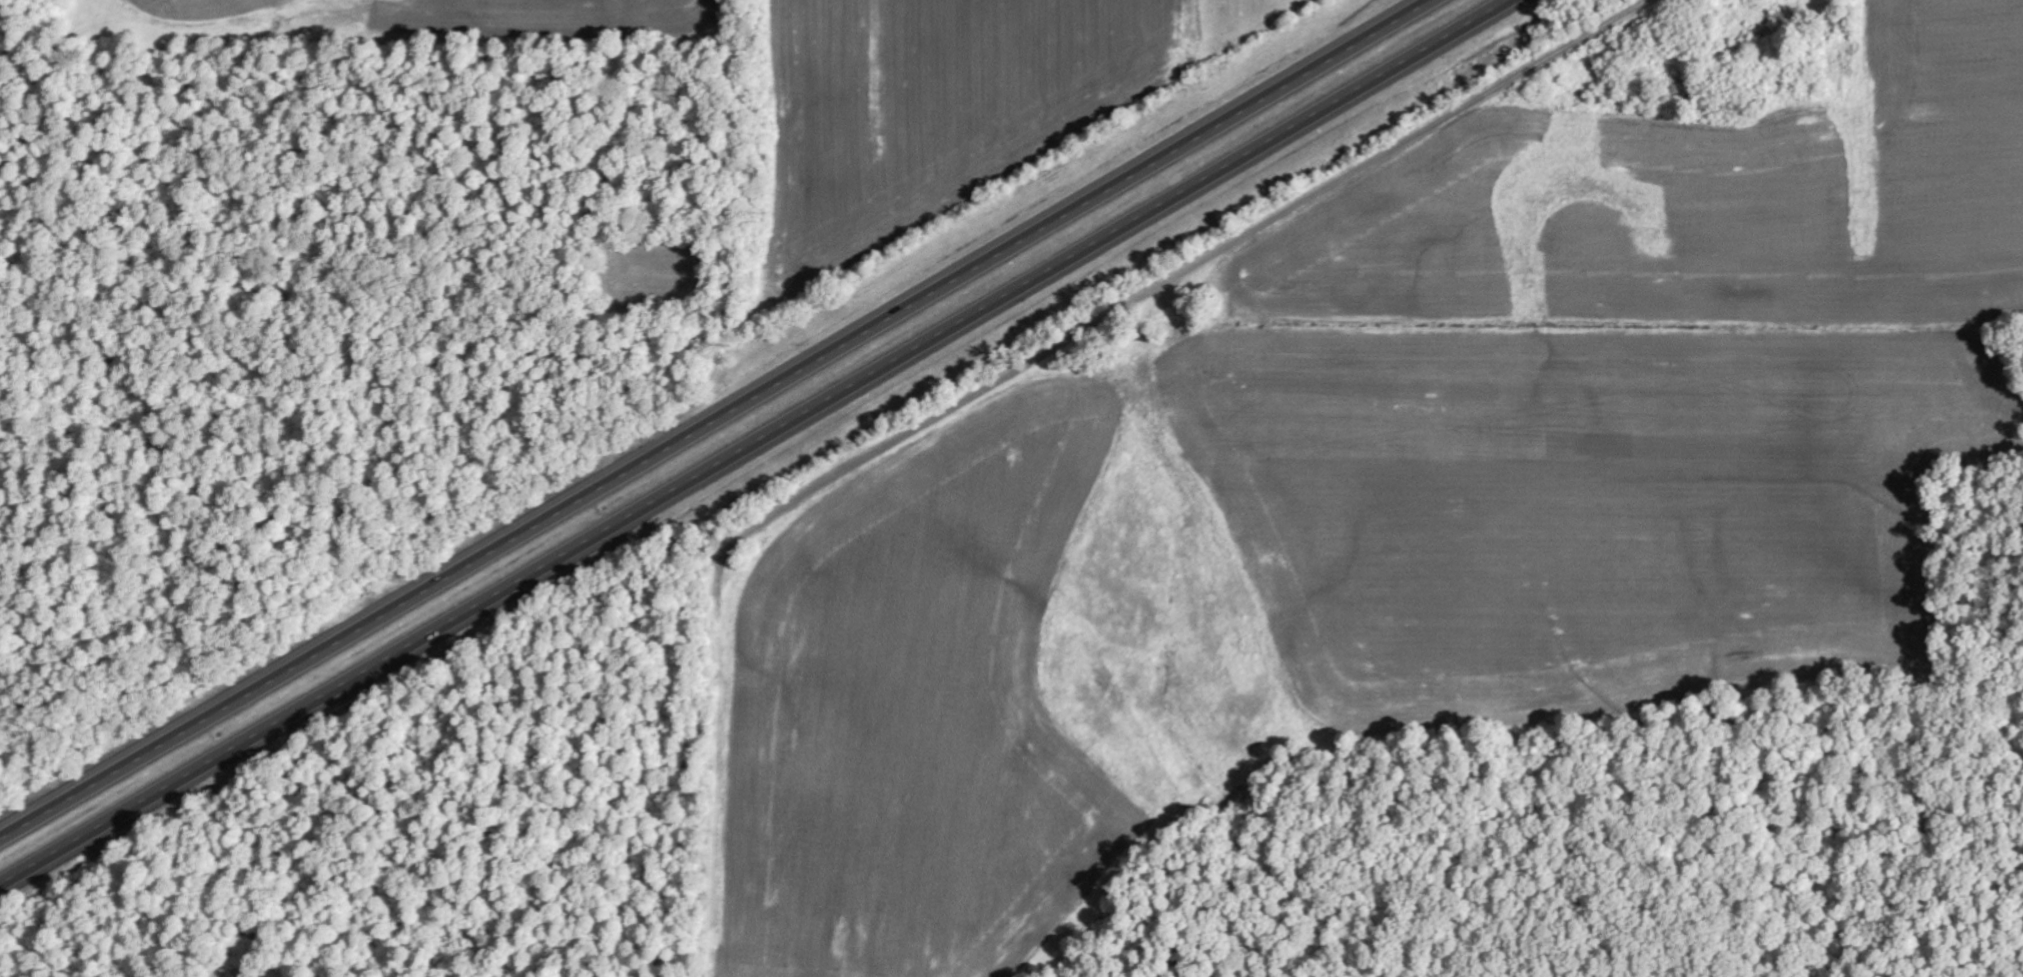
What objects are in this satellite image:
road: (1183, 266)
road: (712, 416)
road: (758, 443)

